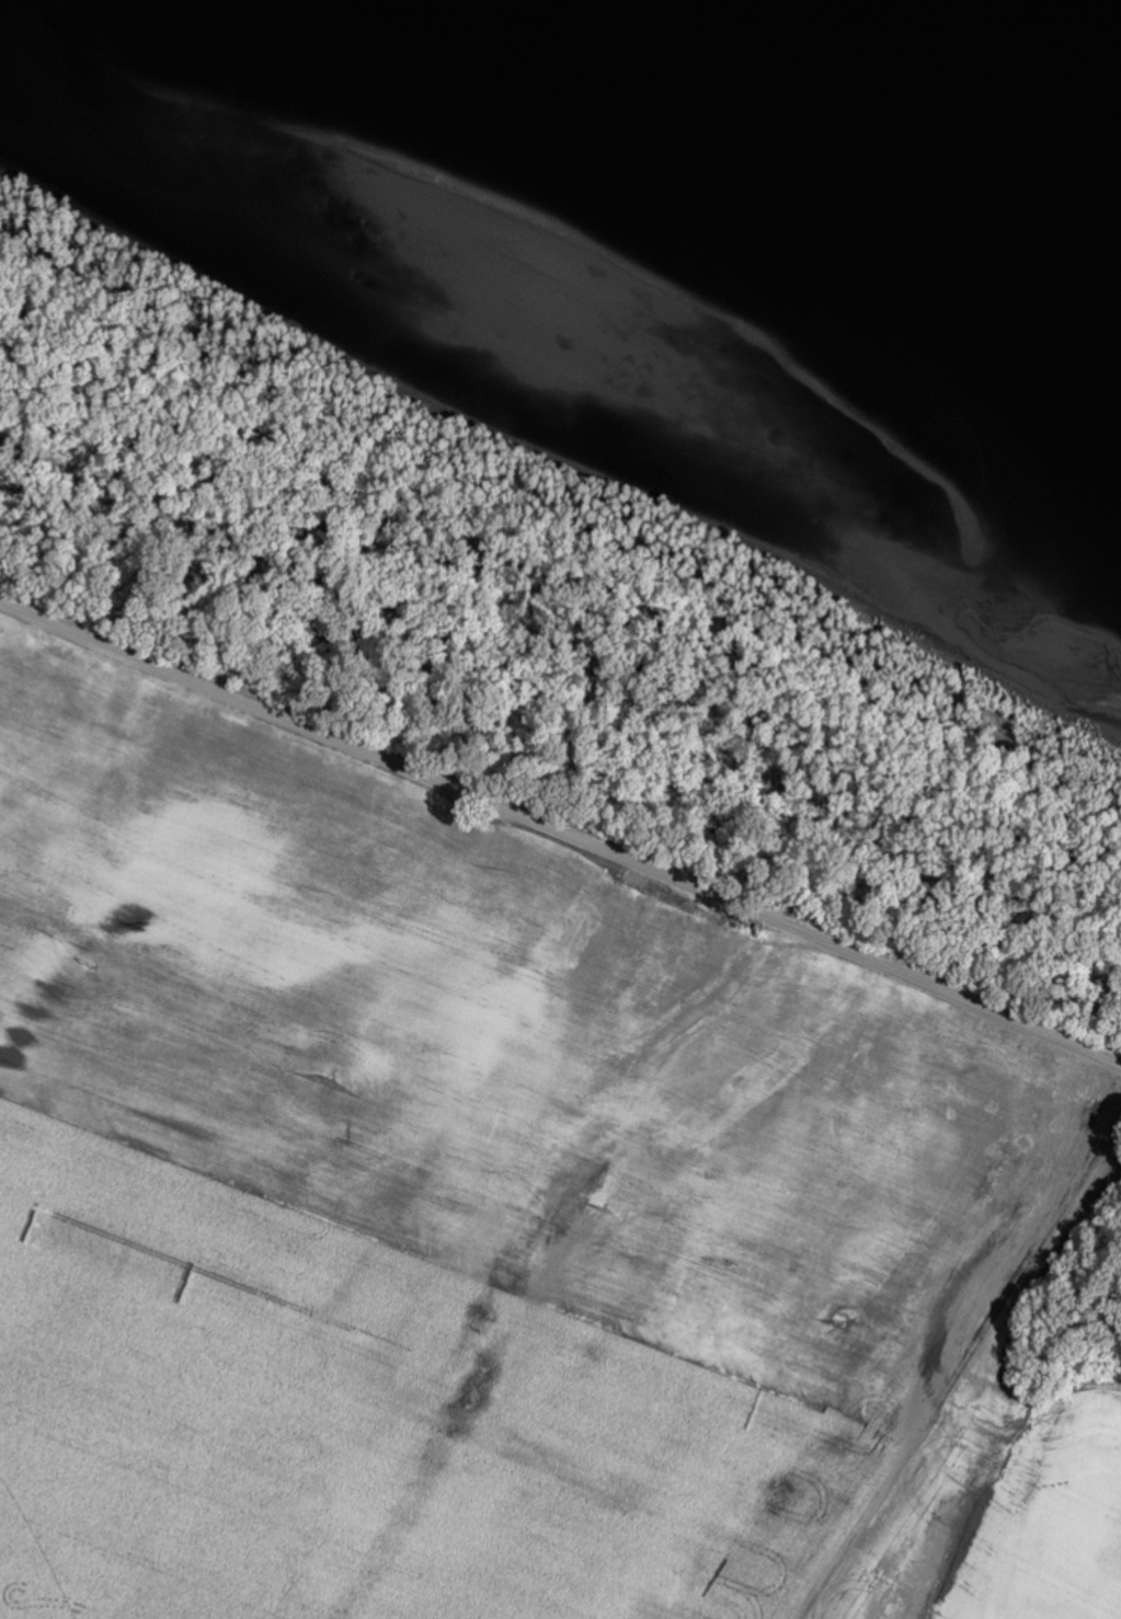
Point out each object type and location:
road: (561, 834)

